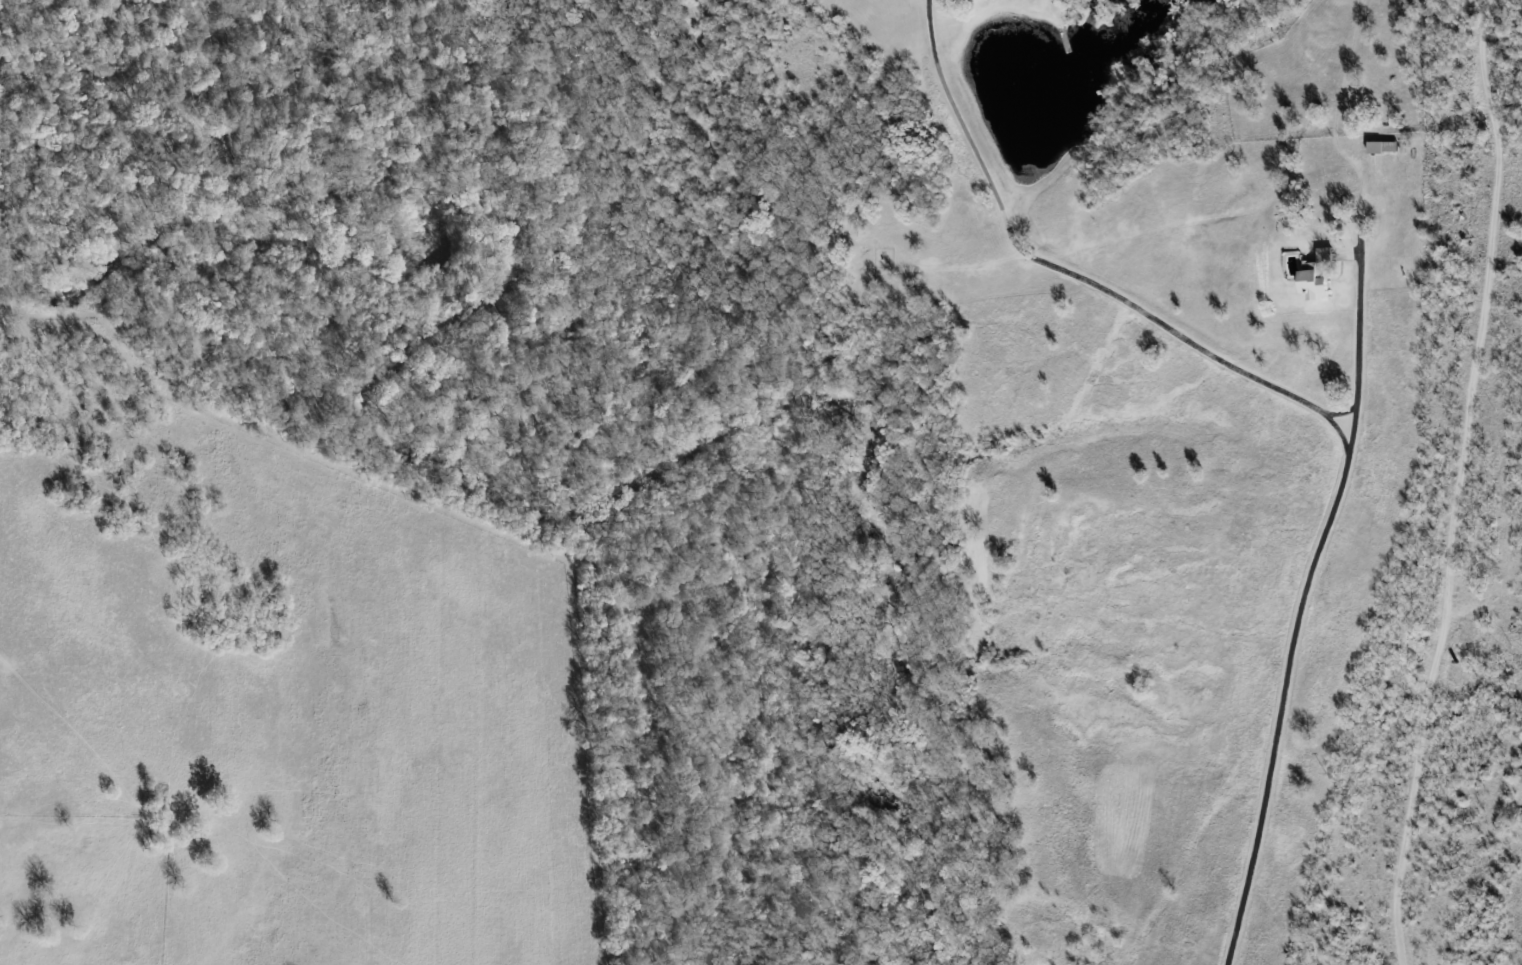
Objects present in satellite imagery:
building: (1379, 147)
road: (1359, 346)
road: (1307, 403)
road: (1353, 432)
road: (1465, 481)

